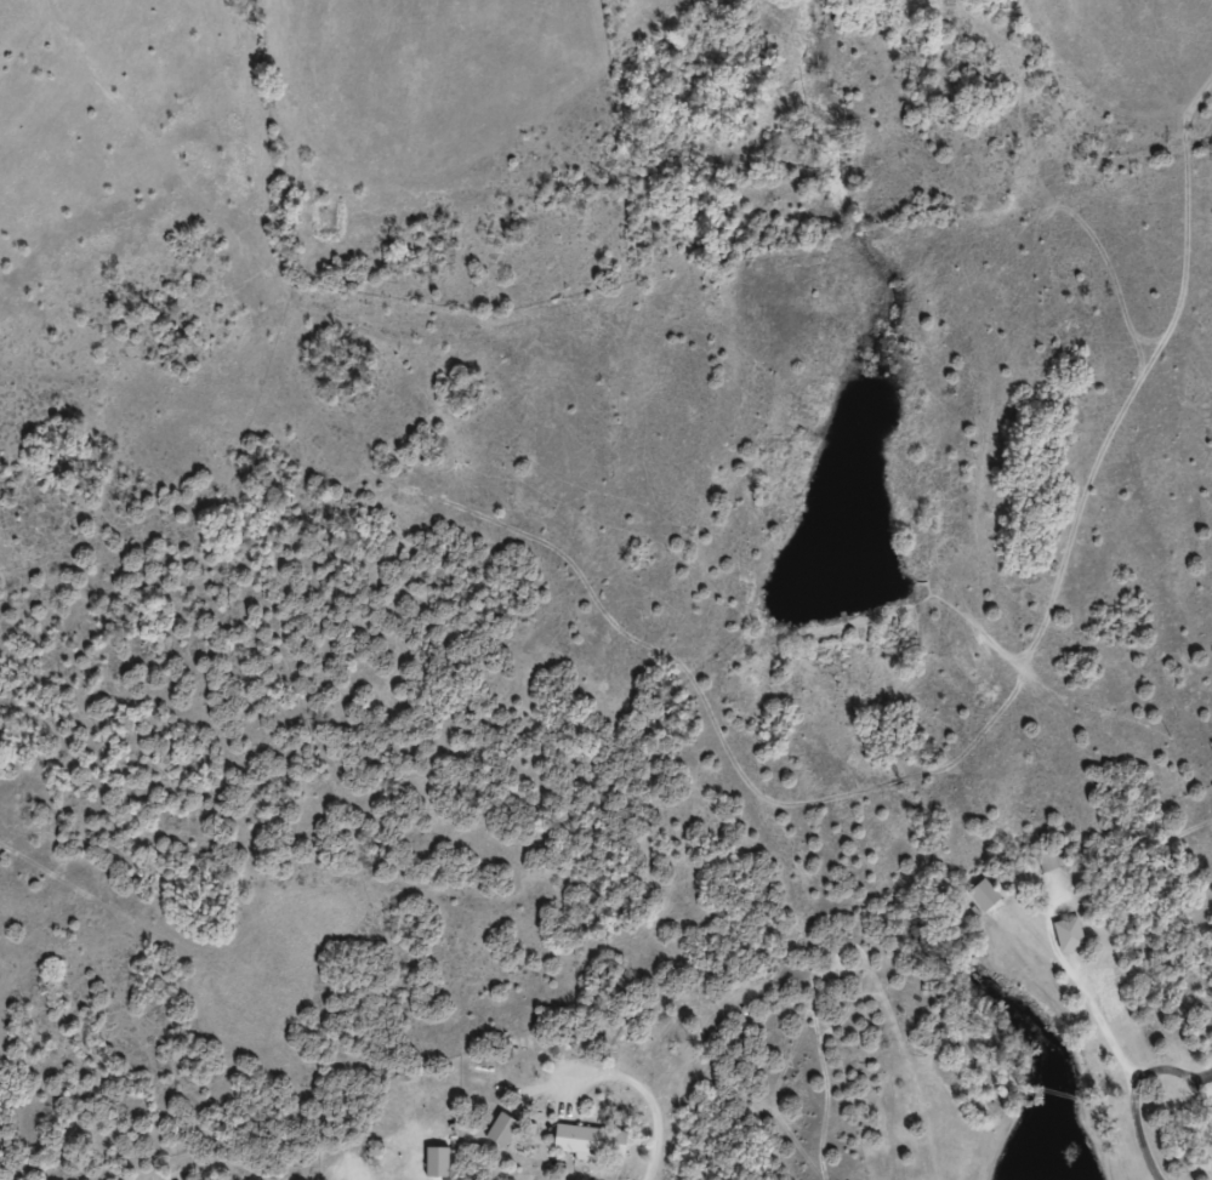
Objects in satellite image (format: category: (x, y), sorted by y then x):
building: (1045, 862)
building: (1065, 935)
building: (497, 1129)
building: (586, 1141)

